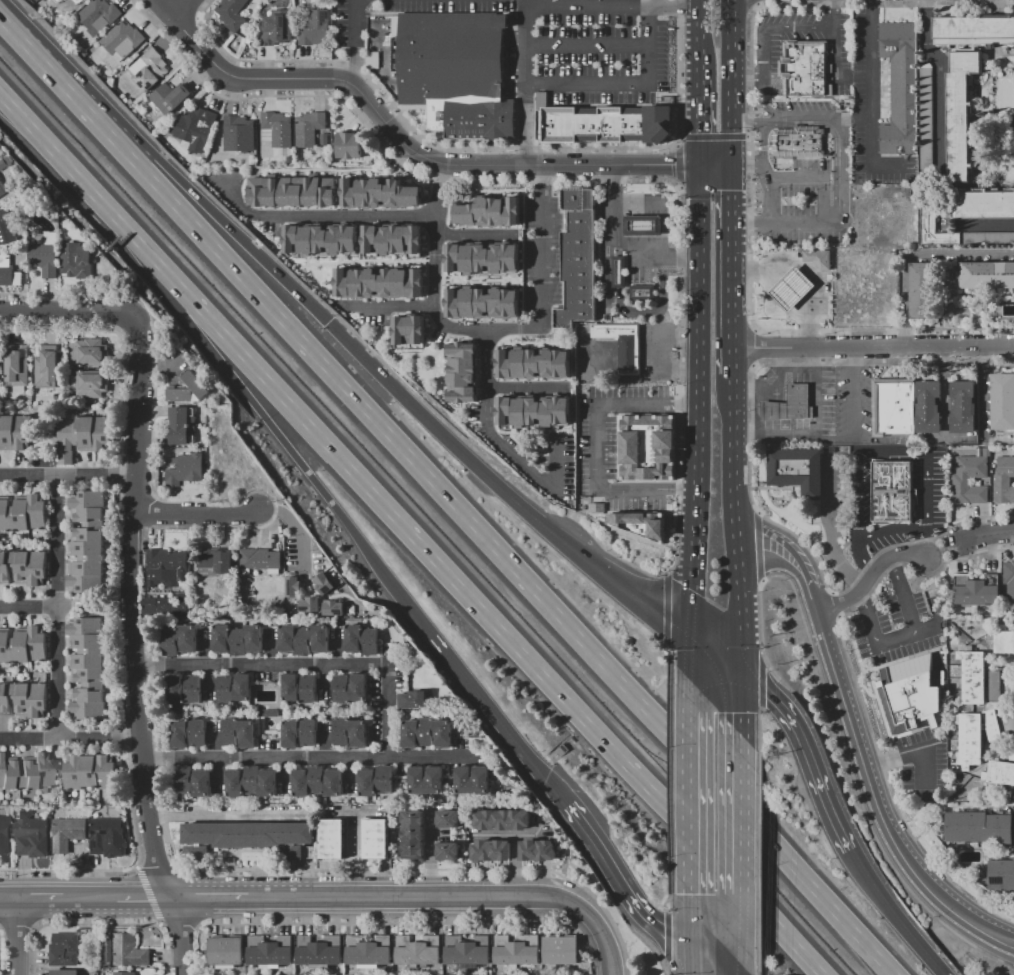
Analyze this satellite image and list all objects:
road: (658, 3)
building: (76, 4)
road: (751, 4)
road: (606, 6)
road: (179, 10)
building: (234, 14)
building: (100, 17)
road: (7, 28)
building: (973, 28)
building: (280, 30)
building: (317, 30)
road: (764, 36)
road: (693, 41)
road: (835, 41)
building: (124, 42)
road: (354, 42)
building: (973, 43)
parking lot: (556, 44)
road: (587, 46)
parking lot: (769, 54)
building: (806, 70)
building: (151, 71)
building: (455, 73)
road: (680, 73)
road: (941, 80)
road: (731, 81)
road: (525, 84)
road: (624, 84)
building: (900, 87)
road: (70, 96)
building: (172, 99)
road: (869, 99)
parking lot: (797, 110)
parking lot: (871, 112)
building: (961, 114)
road: (809, 120)
road: (856, 120)
building: (926, 120)
road: (695, 123)
road: (753, 124)
building: (603, 125)
building: (197, 130)
building: (311, 130)
building: (279, 131)
traffic signals: (696, 133)
building: (241, 135)
road: (713, 137)
road: (763, 142)
building: (798, 142)
building: (351, 147)
road: (834, 148)
road: (411, 151)
road: (747, 162)
road: (64, 163)
building: (7, 164)
road: (678, 165)
traffic signals: (672, 166)
road: (750, 168)
road: (844, 172)
road: (819, 179)
building: (3, 190)
traffic signals: (731, 190)
road: (769, 191)
building: (295, 194)
building: (381, 195)
building: (981, 204)
parking lot: (806, 209)
building: (488, 212)
road: (323, 216)
road: (787, 224)
road: (989, 225)
building: (5, 226)
building: (643, 226)
building: (934, 227)
road: (230, 229)
road: (472, 236)
building: (988, 239)
building: (323, 241)
building: (395, 241)
road: (617, 243)
road: (619, 250)
road: (913, 252)
gas station: (635, 253)
road: (149, 256)
building: (47, 257)
building: (576, 257)
building: (482, 258)
building: (818, 258)
building: (78, 262)
road: (731, 269)
building: (619, 272)
road: (749, 272)
road: (619, 273)
building: (9, 274)
building: (987, 275)
road: (606, 277)
road: (814, 277)
building: (382, 285)
gas station: (794, 288)
building: (793, 289)
building: (923, 291)
building: (643, 293)
building: (481, 304)
road: (389, 307)
road: (659, 311)
road: (769, 313)
road: (67, 315)
traffic signals: (327, 322)
road: (490, 330)
building: (411, 331)
road: (806, 338)
building: (622, 344)
road: (872, 347)
road: (751, 348)
building: (94, 354)
road: (775, 360)
building: (536, 366)
building: (20, 369)
building: (49, 369)
building: (464, 374)
road: (773, 375)
building: (93, 385)
road: (681, 385)
road: (525, 388)
road: (745, 388)
building: (191, 391)
road: (698, 399)
road: (855, 400)
parking lot: (853, 401)
building: (1003, 402)
road: (733, 403)
road: (815, 404)
building: (789, 405)
building: (893, 407)
building: (928, 407)
building: (964, 408)
building: (535, 413)
building: (183, 427)
building: (16, 434)
road: (275, 435)
road: (794, 435)
building: (85, 438)
road: (497, 444)
road: (596, 445)
parking lot: (613, 445)
building: (647, 447)
road: (867, 452)
building: (188, 471)
road: (749, 471)
building: (797, 471)
road: (66, 477)
building: (1003, 481)
building: (961, 482)
road: (498, 488)
building: (892, 491)
building: (596, 507)
building: (24, 514)
road: (194, 514)
road: (757, 514)
building: (642, 523)
road: (294, 527)
road: (902, 529)
road: (829, 531)
road: (988, 534)
building: (89, 543)
road: (758, 547)
road: (945, 550)
road: (737, 554)
road: (789, 559)
building: (262, 560)
building: (216, 563)
building: (169, 565)
road: (509, 565)
building: (24, 569)
road: (869, 578)
building: (1009, 580)
road: (761, 581)
building: (324, 586)
building: (293, 590)
building: (976, 590)
building: (310, 606)
road: (834, 606)
road: (29, 608)
road: (58, 608)
building: (160, 609)
road: (664, 609)
building: (334, 610)
road: (130, 614)
road: (494, 626)
parking lot: (894, 628)
traffic signals: (688, 634)
road: (908, 635)
building: (181, 641)
building: (241, 641)
building: (306, 641)
building: (364, 641)
building: (1003, 642)
building: (24, 646)
road: (762, 651)
road: (715, 655)
road: (669, 661)
road: (686, 665)
building: (89, 669)
traffic signals: (743, 677)
building: (978, 678)
road: (761, 679)
building: (185, 690)
building: (237, 690)
building: (302, 690)
building: (352, 690)
road: (860, 693)
building: (911, 694)
road: (478, 697)
building: (24, 700)
building: (415, 701)
road: (384, 709)
road: (762, 710)
building: (271, 715)
road: (743, 717)
road: (577, 728)
building: (352, 734)
building: (430, 734)
building: (191, 735)
building: (241, 735)
building: (302, 735)
building: (975, 736)
road: (68, 738)
road: (841, 739)
road: (758, 742)
road: (558, 744)
building: (1011, 754)
road: (806, 755)
road: (907, 755)
road: (429, 757)
parking lot: (923, 765)
road: (551, 766)
building: (92, 773)
building: (999, 773)
building: (27, 775)
road: (669, 775)
building: (428, 782)
building: (474, 782)
building: (195, 783)
building: (378, 783)
building: (254, 784)
building: (320, 784)
road: (685, 792)
road: (875, 800)
building: (452, 821)
building: (505, 821)
building: (979, 828)
building: (35, 835)
building: (69, 835)
building: (106, 835)
building: (5, 836)
building: (415, 836)
building: (251, 840)
building: (334, 840)
building: (378, 841)
building: (493, 852)
building: (543, 852)
building: (450, 853)
road: (742, 853)
road: (174, 867)
road: (134, 868)
road: (154, 869)
road: (432, 869)
road: (758, 870)
building: (997, 876)
road: (619, 881)
road: (669, 892)
road: (148, 896)
road: (452, 898)
road: (213, 899)
road: (7, 900)
road: (37, 900)
road: (88, 900)
road: (147, 900)
road: (894, 914)
road: (685, 917)
road: (178, 923)
road: (413, 924)
road: (157, 925)
road: (197, 927)
road: (180, 936)
road: (13, 937)
road: (665, 939)
road: (1010, 942)
traffic signals: (684, 945)
building: (67, 951)
building: (106, 951)
building: (127, 951)
building: (321, 952)
building: (370, 952)
building: (420, 952)
building: (563, 952)
building: (228, 953)
building: (272, 953)
building: (470, 953)
building: (519, 953)
road: (684, 960)
road: (709, 960)
road: (741, 962)
road: (666, 970)
road: (758, 970)
building: (68, 973)
building: (127, 974)

